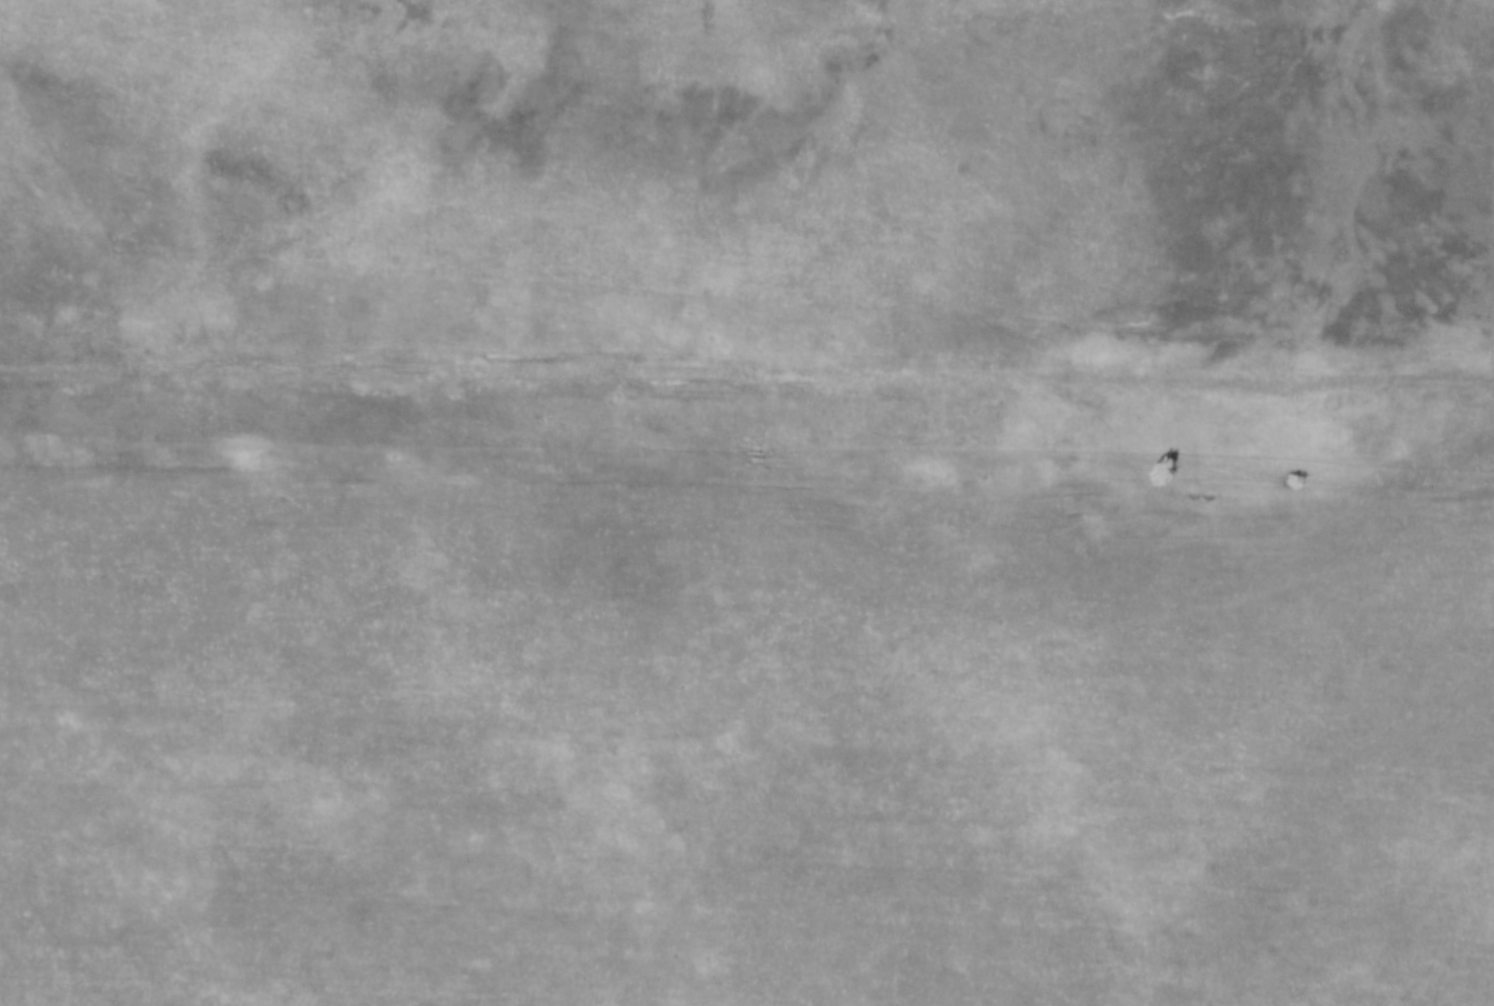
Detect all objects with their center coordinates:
road: (747, 490)

